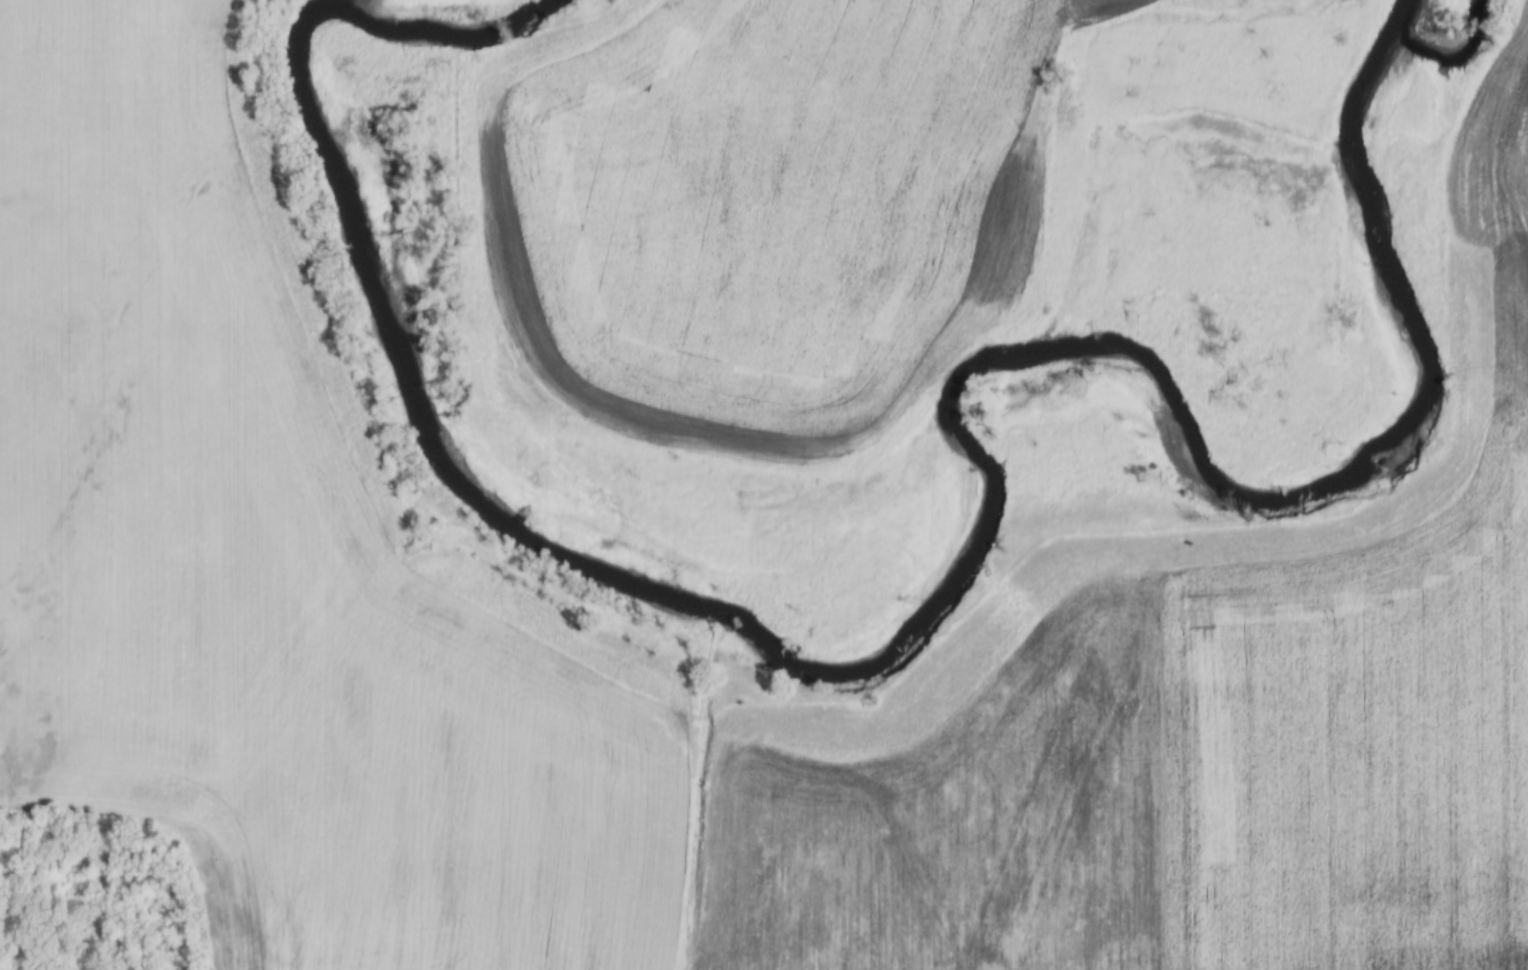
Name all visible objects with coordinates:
river: (1426, 23)
river: (885, 639)

